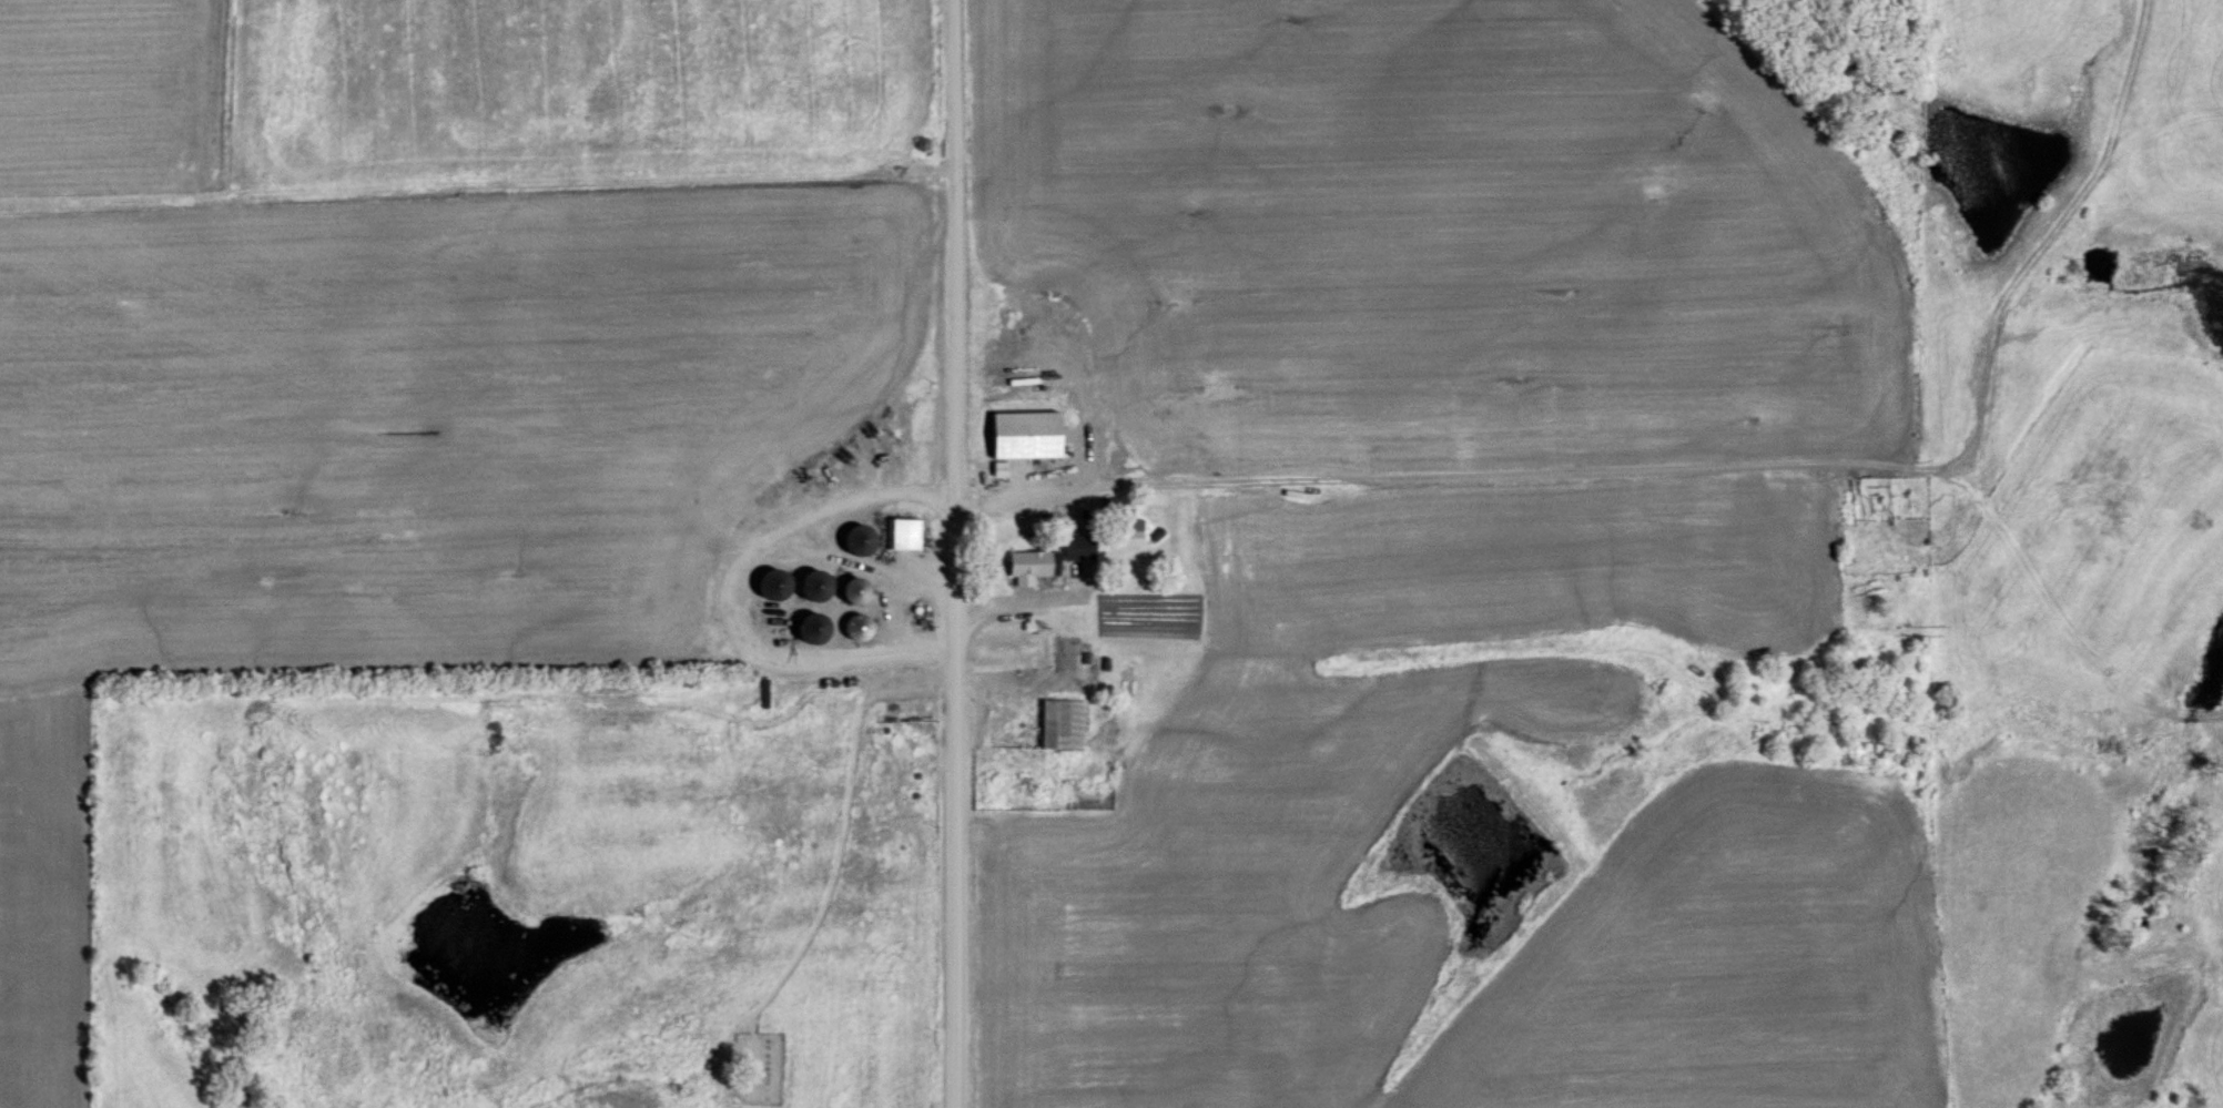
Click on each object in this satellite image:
building: (1019, 434)
road: (1025, 492)
building: (901, 532)
building: (852, 539)
road: (953, 553)
building: (1045, 557)
building: (765, 583)
building: (806, 585)
building: (847, 589)
building: (852, 626)
building: (805, 628)
building: (1062, 659)
building: (1057, 723)
building: (1263, 1065)
park: (752, 1068)

